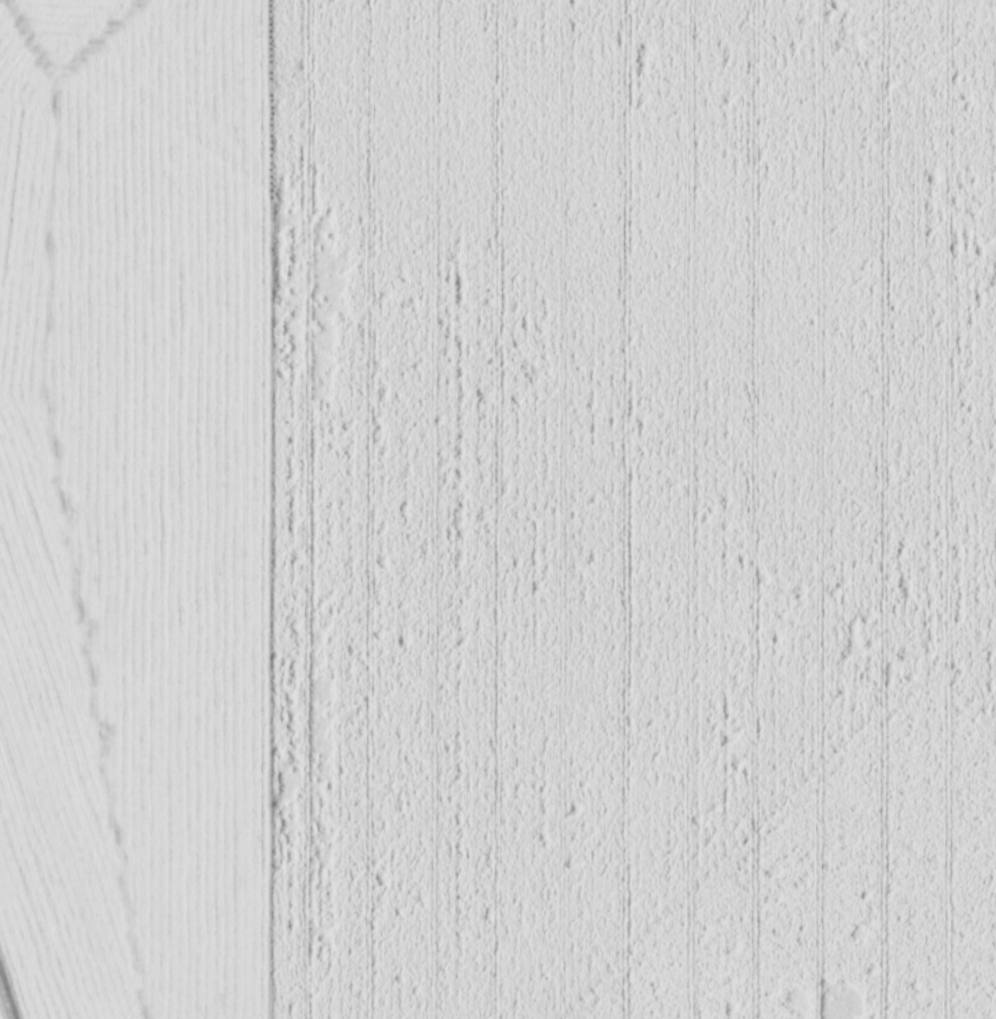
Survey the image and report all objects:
crop: (498, 509)

